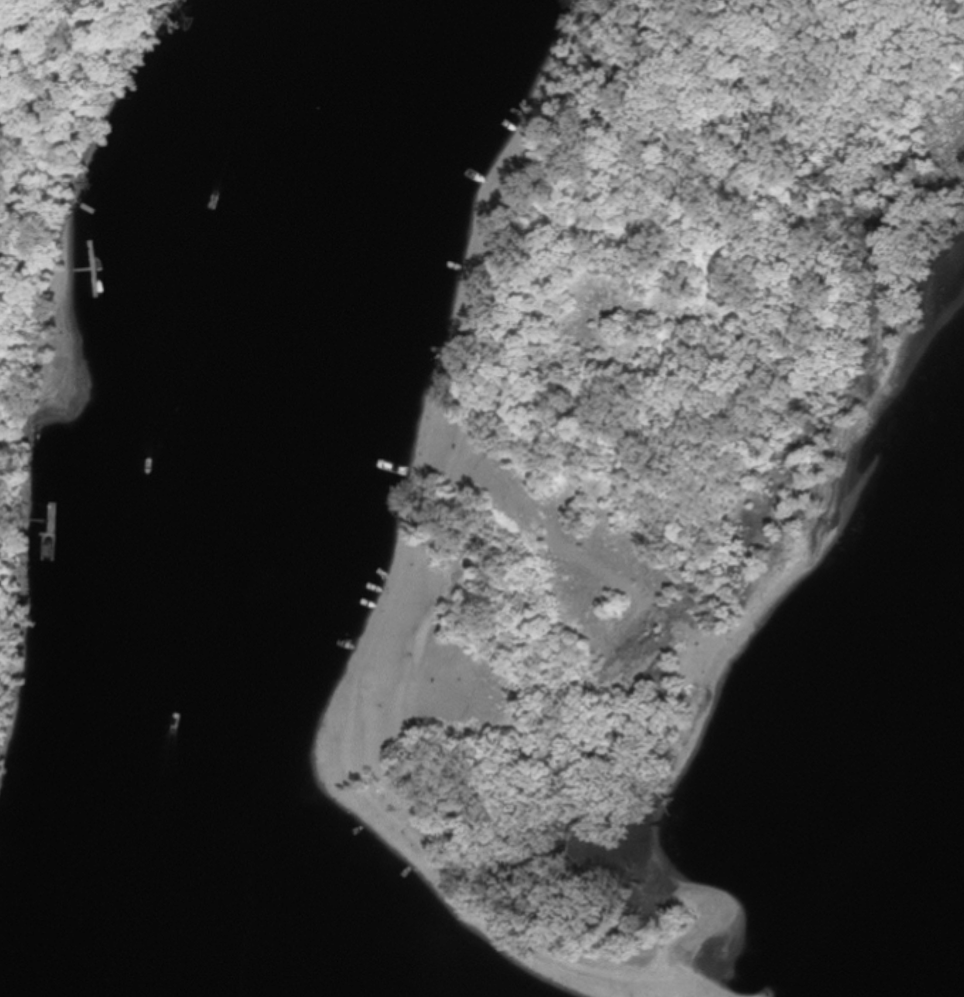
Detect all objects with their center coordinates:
river: (261, 487)

